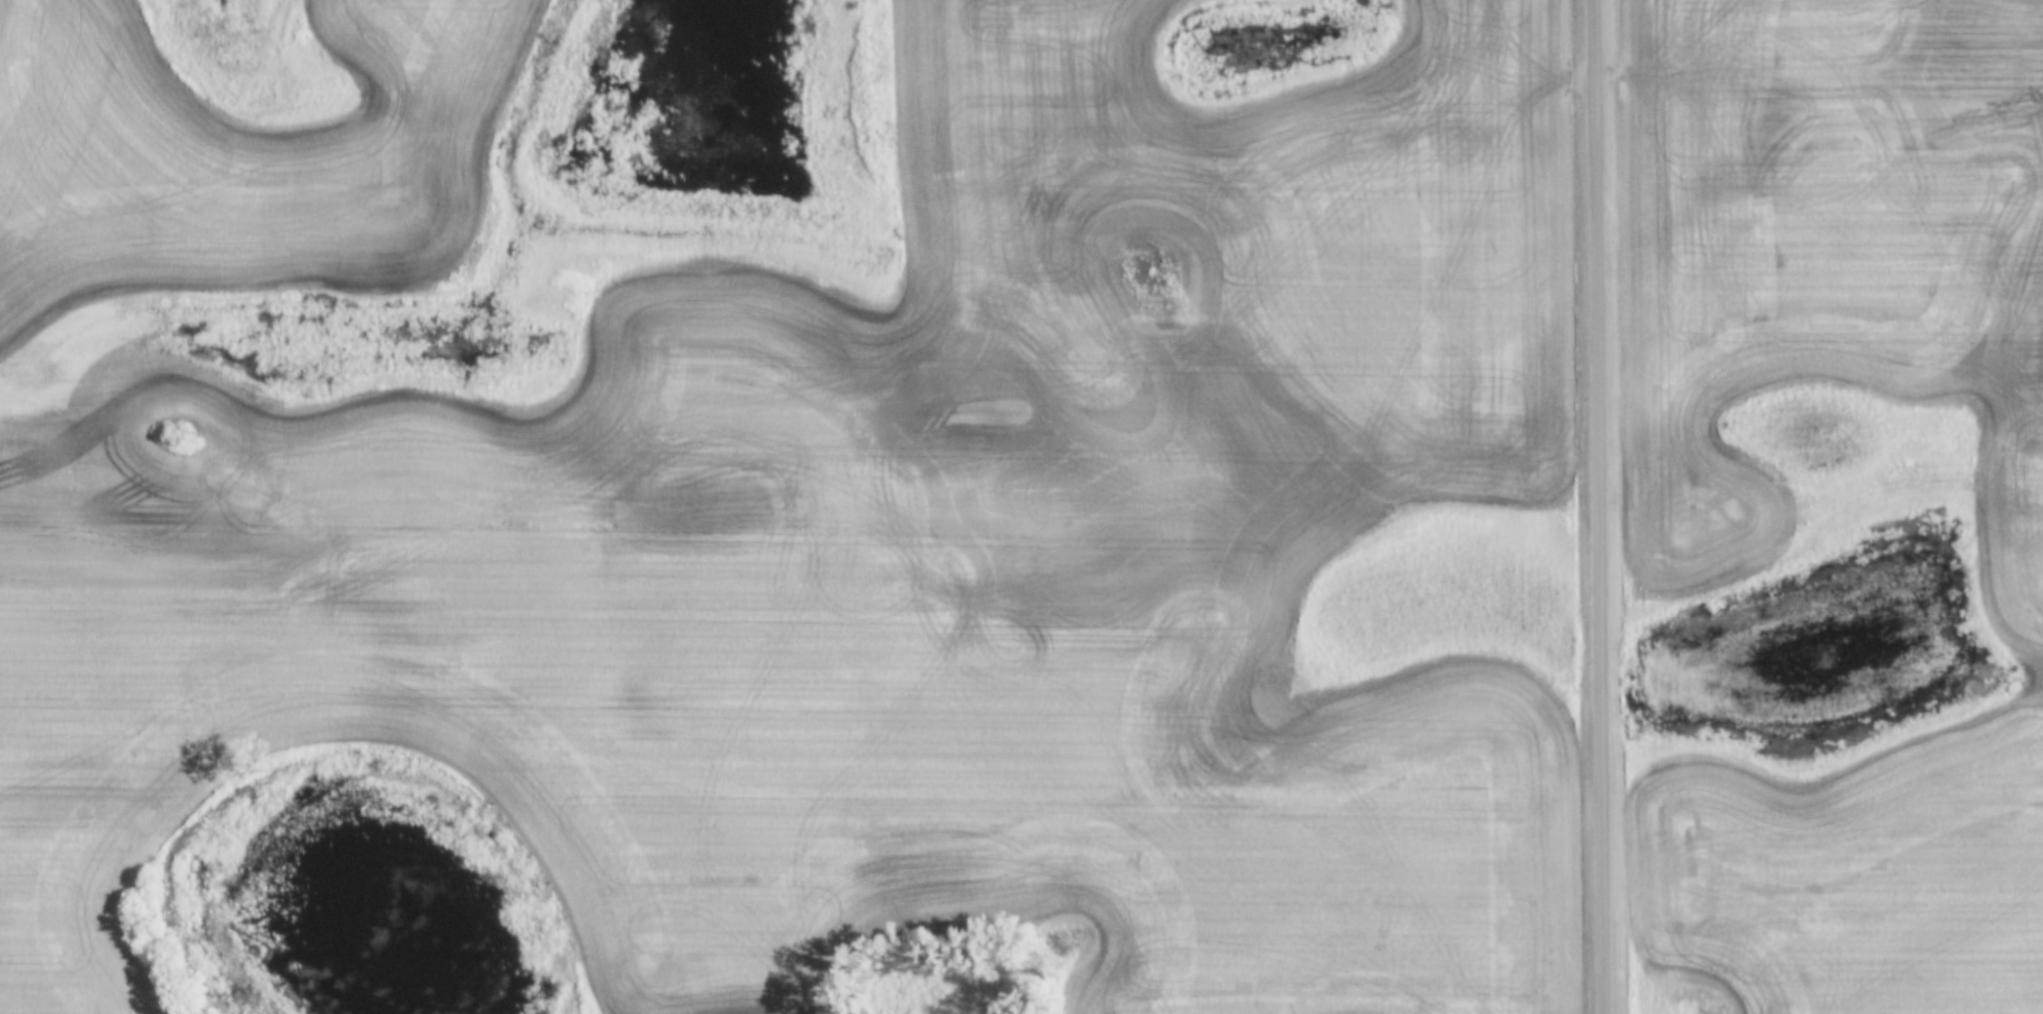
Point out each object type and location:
road: (1604, 507)

